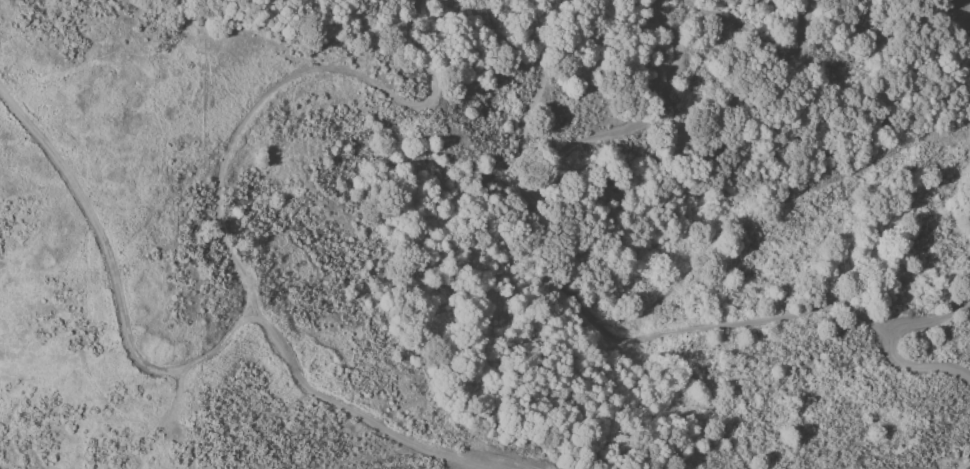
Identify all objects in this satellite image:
road: (869, 164)
road: (216, 204)
road: (114, 295)
road: (882, 341)

